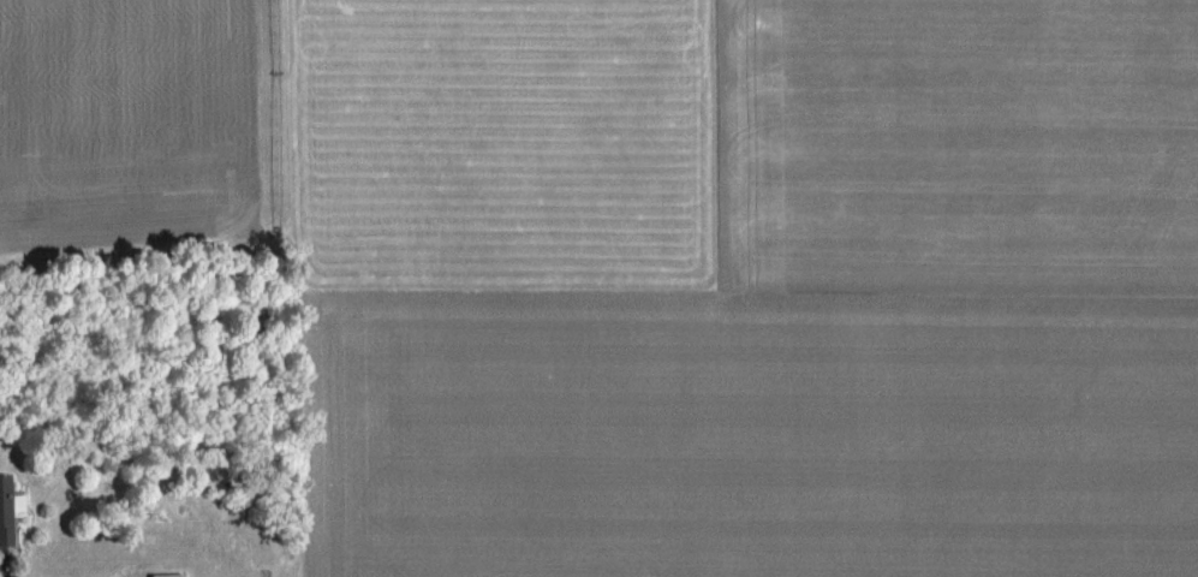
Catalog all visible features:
building: (8, 511)
road: (4, 564)
building: (166, 576)

